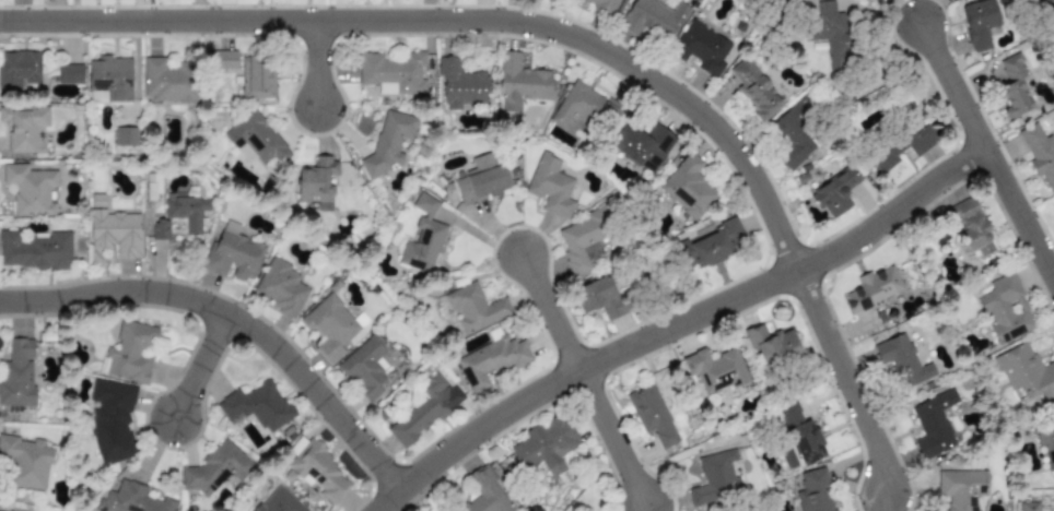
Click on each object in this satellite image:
building: (786, 0)
building: (602, 4)
building: (654, 17)
building: (979, 23)
building: (829, 35)
road: (574, 38)
building: (701, 48)
building: (224, 60)
road: (316, 64)
building: (19, 69)
building: (393, 73)
building: (69, 74)
building: (110, 78)
building: (257, 78)
building: (168, 81)
building: (520, 83)
building: (460, 84)
building: (1015, 85)
building: (754, 90)
building: (23, 126)
building: (125, 138)
building: (256, 140)
building: (790, 140)
street lamp: (998, 140)
building: (388, 143)
building: (642, 145)
building: (899, 146)
road: (985, 153)
building: (1040, 154)
building: (481, 180)
building: (152, 181)
building: (317, 181)
building: (550, 187)
building: (687, 188)
building: (28, 189)
building: (834, 192)
building: (1053, 200)
building: (98, 202)
building: (185, 210)
building: (971, 227)
building: (159, 230)
building: (116, 233)
building: (422, 238)
building: (579, 241)
building: (712, 245)
building: (34, 251)
building: (233, 253)
building: (280, 287)
building: (871, 289)
building: (598, 298)
building: (475, 308)
building: (1006, 309)
road: (549, 313)
road: (234, 319)
road: (678, 324)
building: (329, 326)
building: (772, 346)
building: (129, 353)
building: (902, 360)
building: (490, 363)
road: (199, 367)
building: (366, 367)
building: (715, 369)
building: (1026, 373)
building: (17, 376)
building: (256, 406)
building: (420, 411)
building: (651, 415)
building: (110, 420)
building: (934, 424)
road: (611, 438)
building: (799, 438)
building: (1045, 441)
building: (543, 445)
building: (26, 462)
building: (215, 468)
building: (318, 471)
building: (715, 478)
building: (961, 488)
building: (813, 491)
building: (487, 492)
building: (132, 499)
building: (279, 501)
building: (1029, 507)

